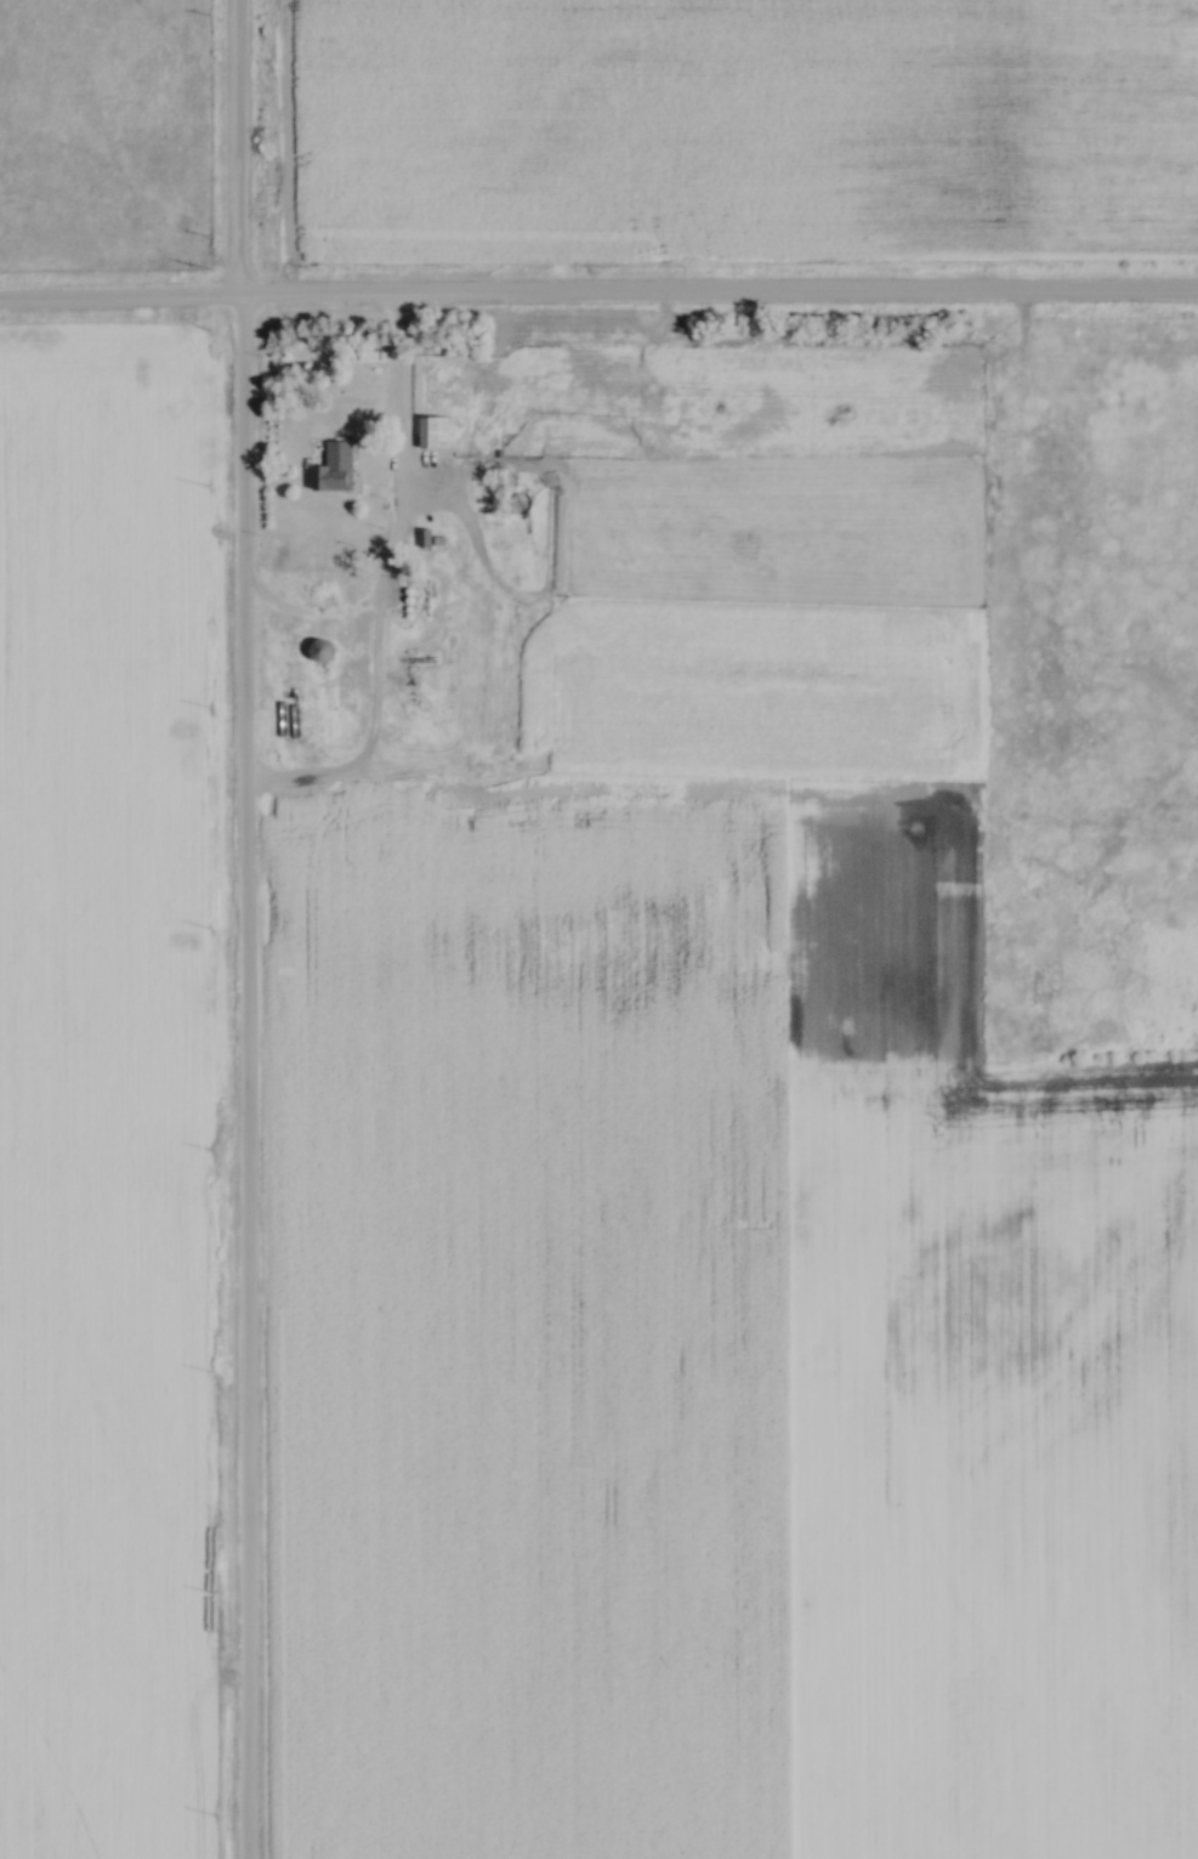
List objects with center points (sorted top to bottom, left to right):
road: (598, 300)
building: (375, 352)
building: (436, 431)
building: (337, 465)
building: (447, 535)
road: (376, 597)
building: (327, 651)
road: (242, 929)

